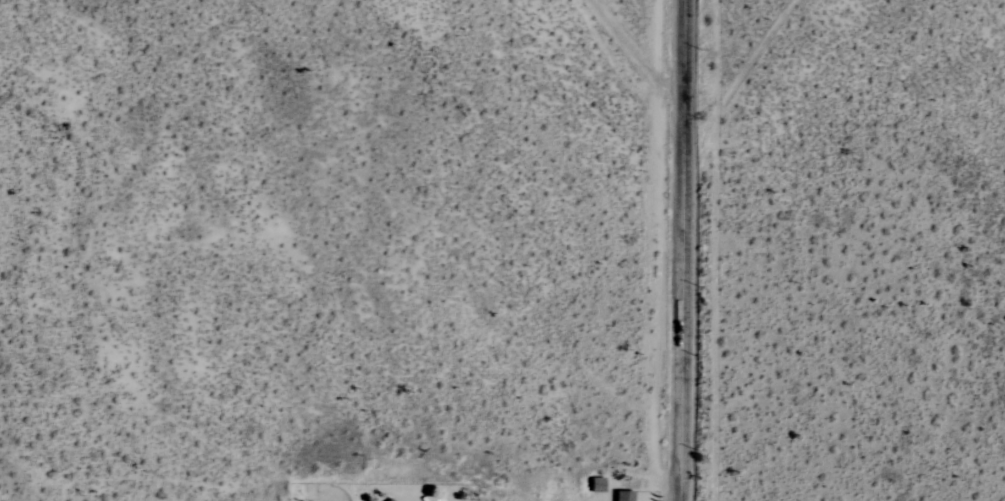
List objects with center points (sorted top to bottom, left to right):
road: (683, 250)
building: (621, 496)

